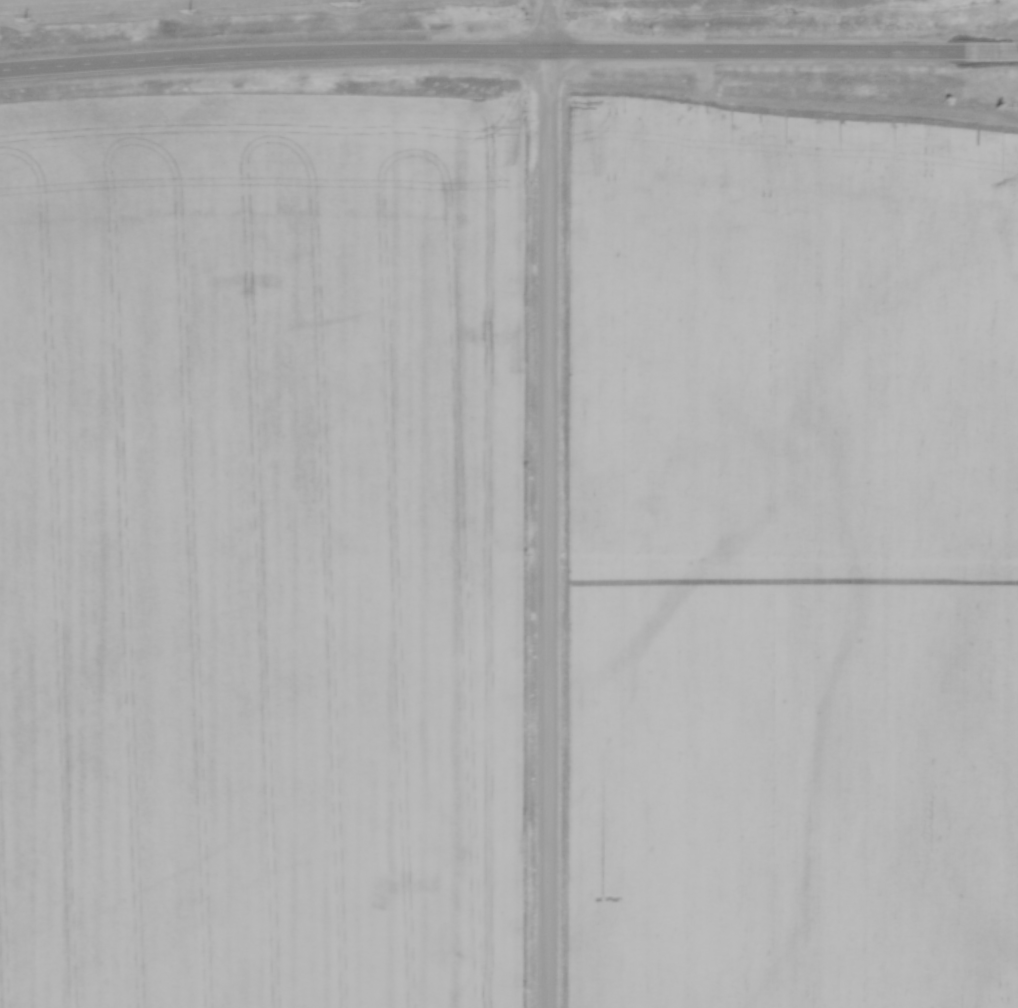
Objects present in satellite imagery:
road: (508, 56)
road: (547, 503)
crop: (791, 561)

